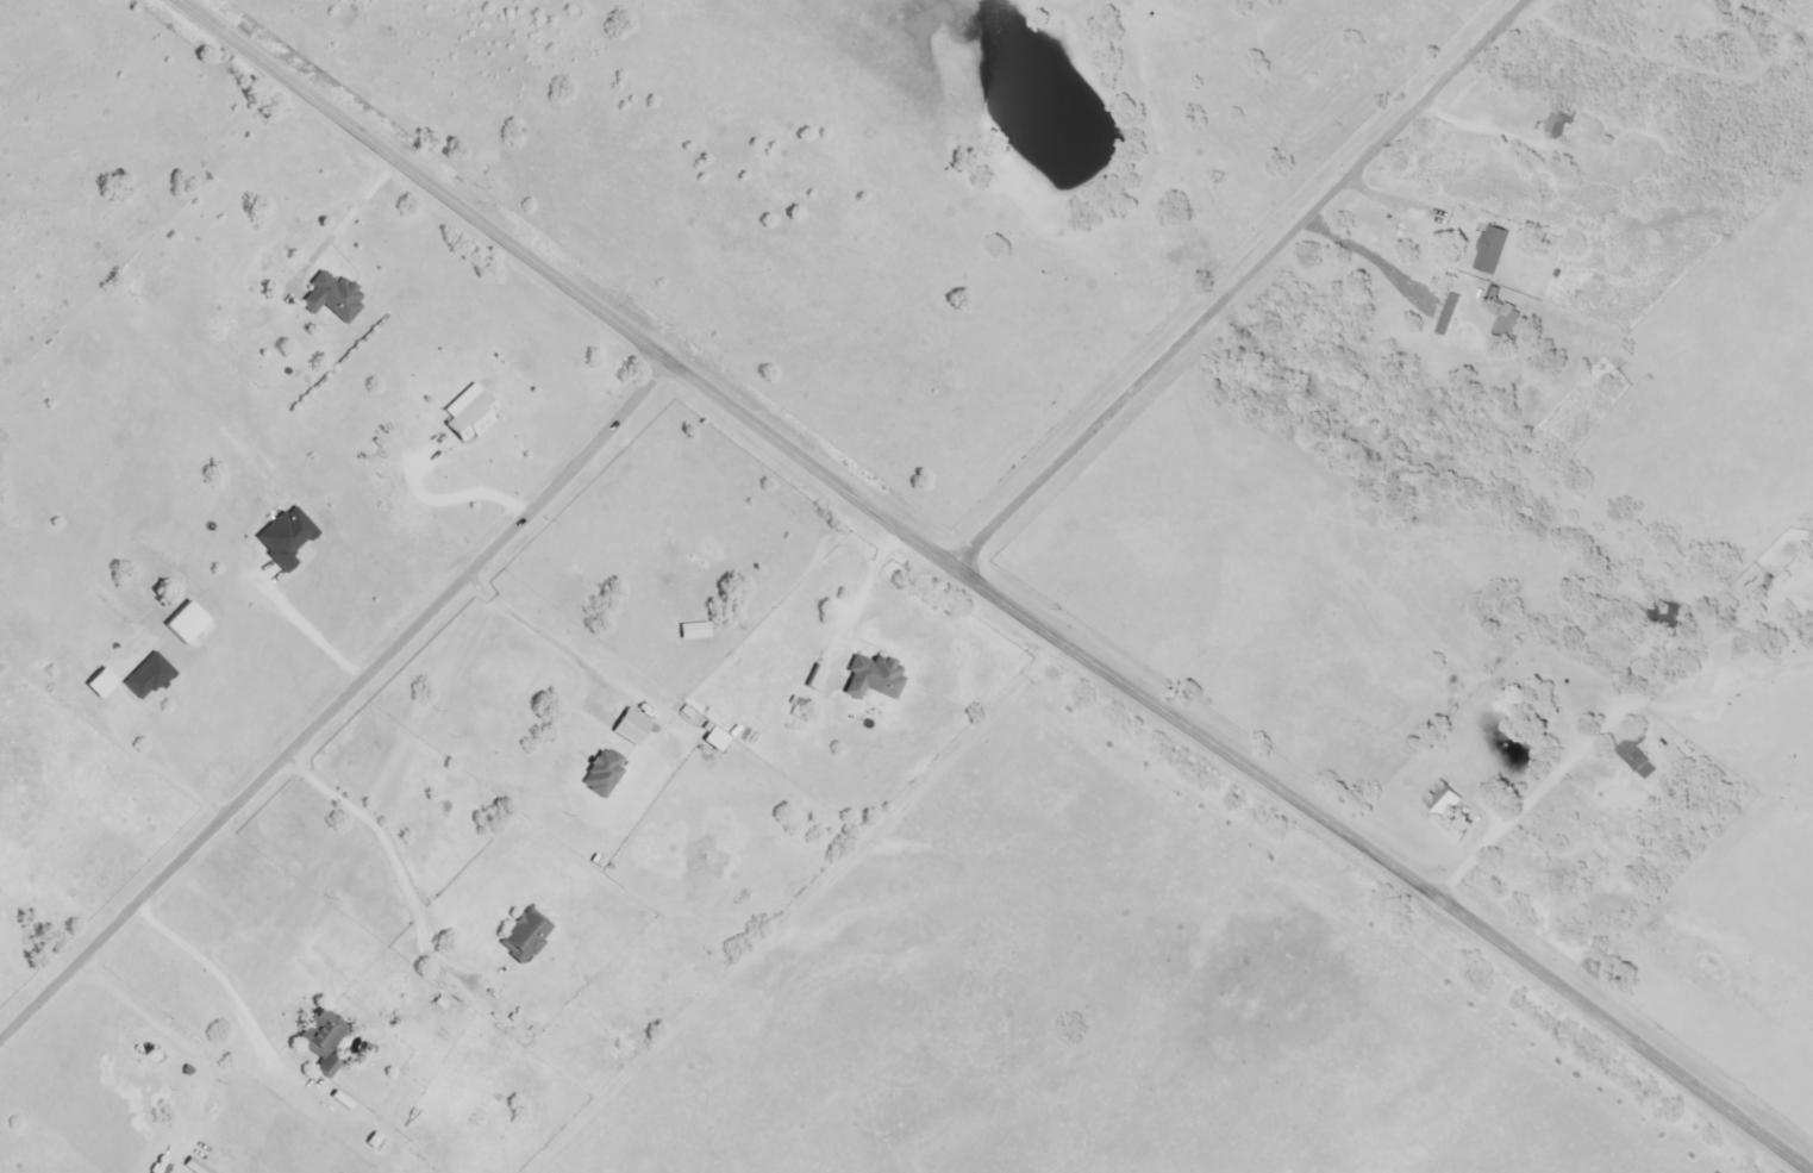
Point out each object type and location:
building: (1557, 123)
building: (1596, 171)
building: (1507, 182)
road: (1392, 202)
building: (1489, 251)
road: (1368, 255)
road: (1236, 285)
building: (330, 299)
building: (1448, 317)
building: (1545, 319)
building: (229, 337)
building: (468, 419)
road: (987, 594)
road: (530, 630)
building: (869, 678)
road: (336, 701)
building: (1634, 756)
building: (600, 773)
road: (1530, 799)
building: (1440, 800)
building: (523, 936)
road: (218, 977)
building: (320, 1040)

